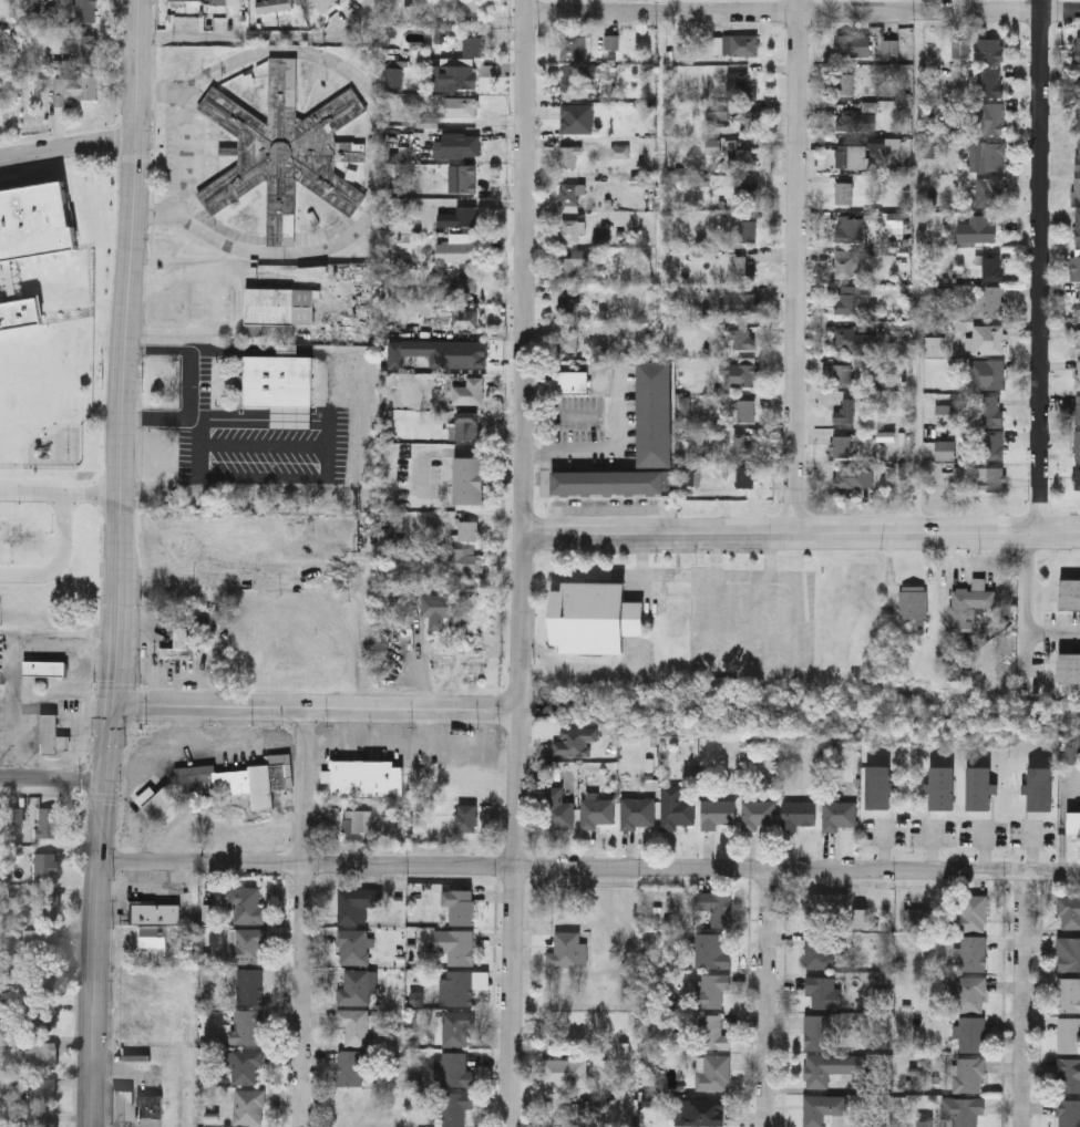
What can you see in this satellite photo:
building: (185, 1)
building: (226, 1)
building: (322, 3)
building: (274, 4)
building: (476, 7)
building: (86, 11)
building: (412, 13)
road: (800, 14)
road: (261, 39)
building: (744, 44)
building: (852, 44)
building: (85, 45)
building: (577, 48)
building: (1078, 48)
building: (889, 49)
building: (989, 49)
building: (459, 68)
building: (394, 77)
building: (572, 82)
building: (990, 82)
building: (847, 83)
building: (1078, 84)
building: (740, 85)
building: (73, 86)
building: (461, 106)
building: (858, 117)
building: (1078, 117)
building: (576, 118)
building: (990, 118)
building: (748, 121)
building: (455, 144)
road: (68, 146)
road: (178, 148)
building: (285, 149)
road: (372, 152)
building: (1078, 154)
building: (570, 155)
building: (988, 155)
building: (848, 156)
building: (743, 158)
building: (462, 176)
building: (1077, 189)
building: (990, 190)
building: (844, 192)
building: (569, 194)
building: (749, 194)
building: (466, 214)
building: (1078, 226)
building: (851, 228)
building: (978, 228)
building: (570, 230)
building: (748, 230)
building: (456, 250)
building: (573, 262)
building: (847, 263)
building: (992, 265)
building: (1074, 266)
road: (799, 267)
road: (1045, 267)
building: (743, 268)
road: (917, 273)
building: (467, 281)
building: (847, 299)
building: (994, 300)
building: (1078, 300)
building: (741, 302)
building: (568, 303)
road: (212, 304)
building: (280, 304)
building: (464, 318)
building: (568, 335)
building: (742, 338)
building: (853, 339)
building: (988, 339)
building: (1078, 340)
building: (743, 371)
building: (842, 373)
building: (987, 373)
building: (1078, 373)
building: (570, 381)
building: (280, 386)
building: (469, 390)
building: (747, 409)
building: (991, 409)
building: (1078, 409)
building: (845, 410)
building: (654, 412)
building: (944, 413)
building: (466, 424)
building: (994, 444)
building: (1077, 444)
building: (842, 445)
building: (743, 447)
road: (604, 448)
building: (945, 448)
building: (745, 475)
building: (848, 475)
building: (1077, 475)
building: (989, 477)
building: (469, 478)
building: (610, 480)
road: (60, 492)
building: (467, 529)
road: (798, 535)
road: (60, 559)
building: (466, 560)
road: (117, 563)
road: (515, 563)
building: (1070, 593)
building: (912, 600)
road: (638, 602)
building: (969, 603)
road: (1026, 607)
building: (444, 609)
building: (678, 609)
building: (595, 617)
road: (6, 632)
road: (16, 633)
road: (368, 638)
building: (179, 642)
building: (1070, 666)
building: (44, 668)
road: (572, 670)
traffic signals: (113, 703)
road: (312, 707)
building: (51, 734)
road: (267, 738)
road: (226, 740)
building: (574, 741)
road: (382, 743)
road: (470, 747)
road: (165, 753)
building: (367, 775)
building: (240, 778)
road: (52, 779)
traffic signals: (104, 779)
building: (878, 786)
building: (943, 787)
building: (980, 787)
building: (1041, 787)
building: (676, 806)
building: (164, 807)
building: (557, 808)
building: (597, 811)
building: (638, 813)
building: (717, 813)
building: (14, 814)
building: (759, 814)
building: (798, 814)
building: (839, 815)
building: (466, 816)
building: (45, 820)
building: (358, 820)
building: (1073, 820)
building: (43, 865)
road: (305, 866)
road: (796, 868)
building: (247, 903)
building: (354, 903)
building: (714, 906)
building: (48, 907)
building: (462, 907)
building: (824, 909)
building: (1069, 911)
building: (970, 913)
building: (156, 916)
road: (301, 917)
building: (916, 917)
building: (38, 940)
building: (456, 944)
building: (250, 945)
building: (354, 945)
building: (565, 949)
building: (823, 949)
building: (711, 950)
building: (971, 952)
building: (1070, 955)
building: (43, 978)
building: (250, 985)
building: (356, 988)
building: (461, 988)
building: (712, 989)
building: (823, 991)
building: (967, 992)
building: (1068, 993)
road: (763, 997)
road: (1021, 1000)
building: (42, 1015)
building: (354, 1025)
building: (247, 1026)
building: (456, 1026)
building: (711, 1031)
building: (815, 1032)
building: (970, 1033)
building: (1069, 1034)
building: (41, 1054)
building: (244, 1065)
building: (830, 1066)
building: (351, 1067)
building: (456, 1068)
building: (566, 1069)
building: (712, 1071)
building: (967, 1074)
building: (1068, 1074)
building: (43, 1089)
building: (248, 1106)
building: (456, 1106)
building: (123, 1107)
building: (150, 1107)
building: (822, 1108)
building: (961, 1110)
building: (703, 1112)
building: (1068, 1113)
building: (43, 1119)

